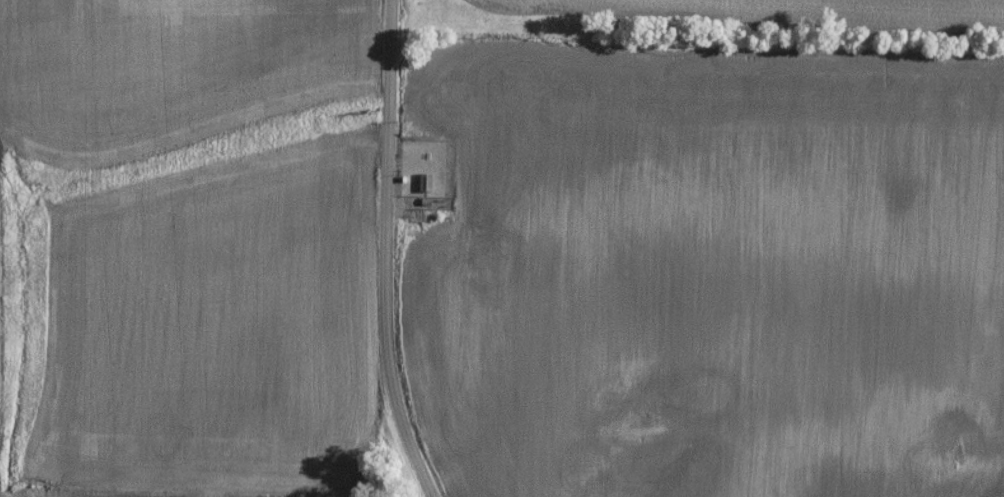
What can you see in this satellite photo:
road: (383, 252)

